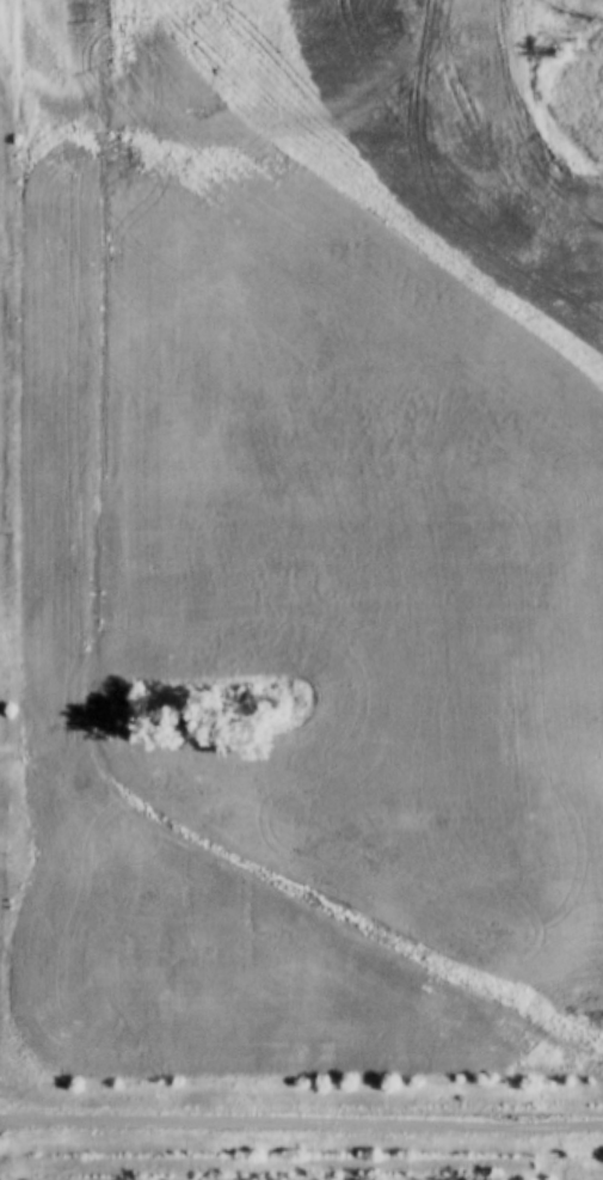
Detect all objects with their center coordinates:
road: (301, 1119)

